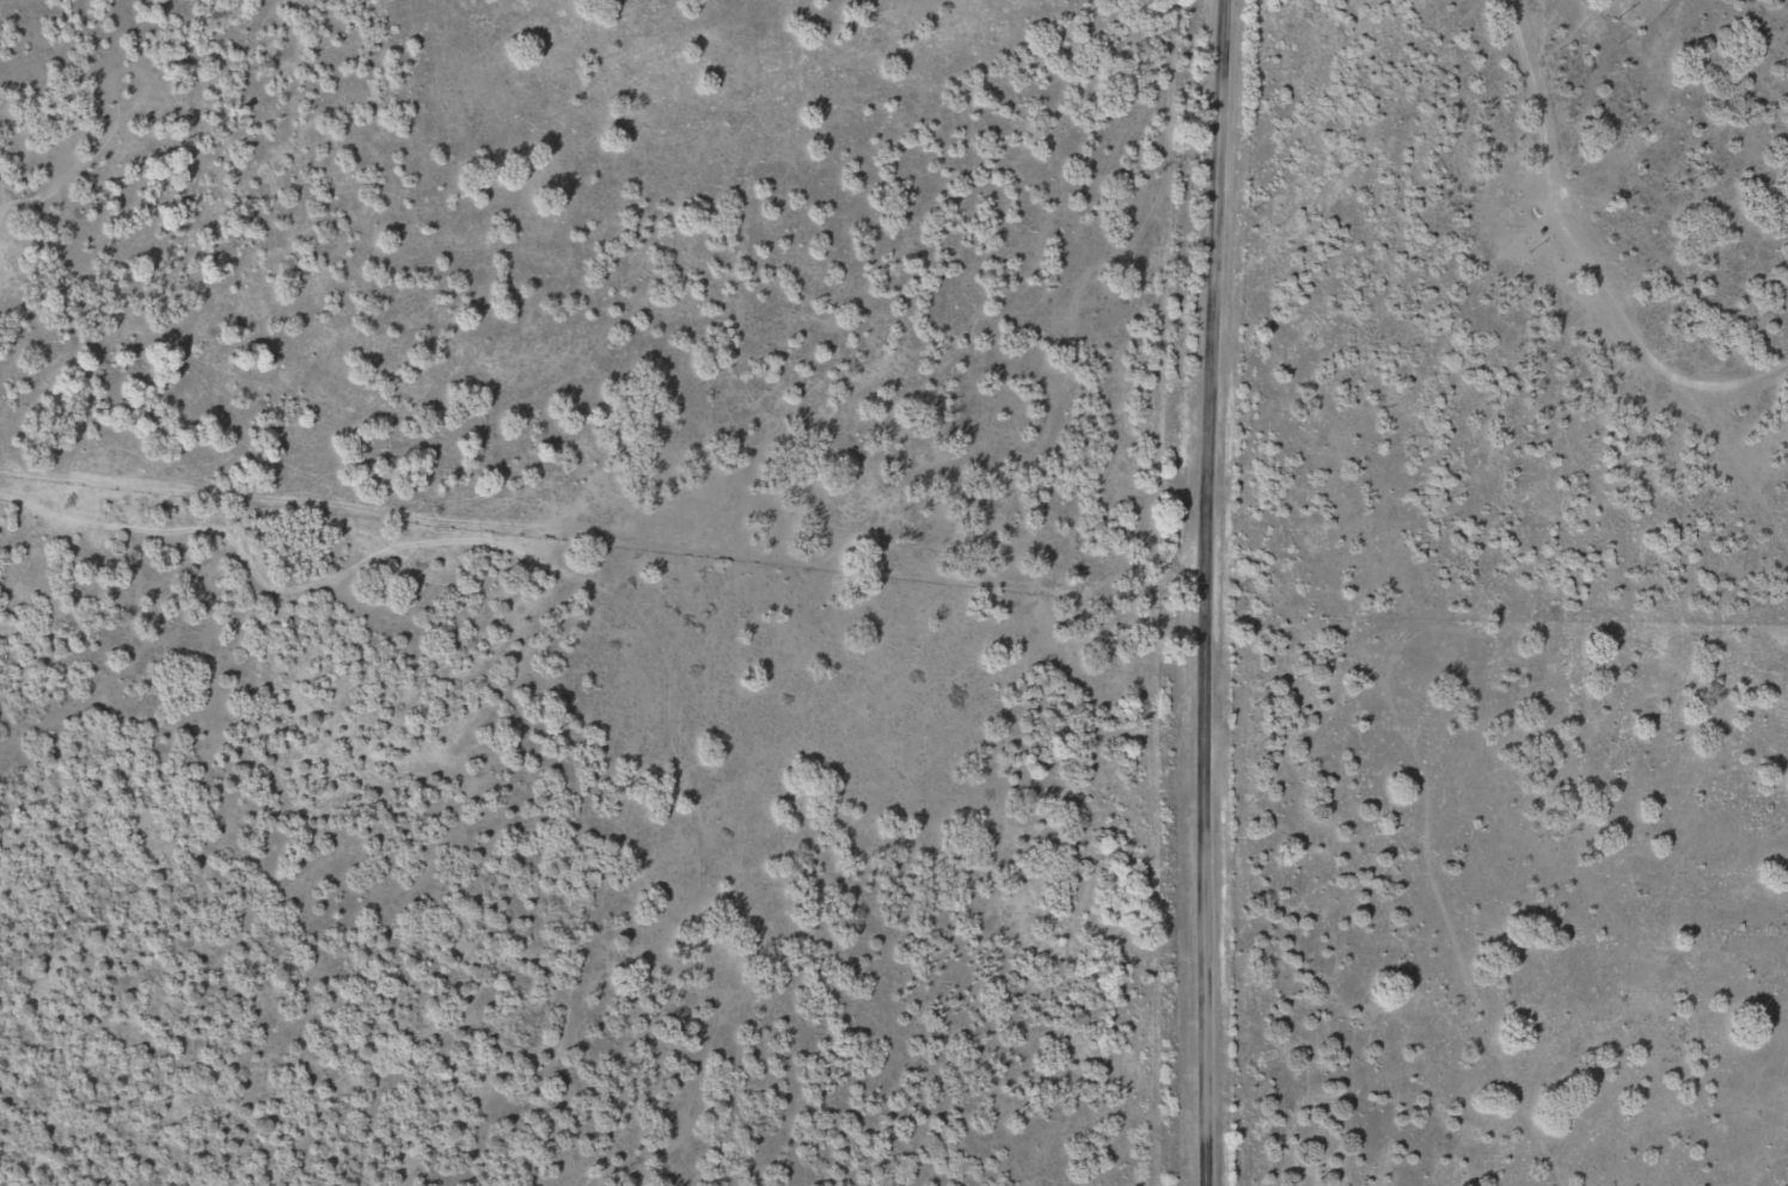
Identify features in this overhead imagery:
road: (1213, 592)

